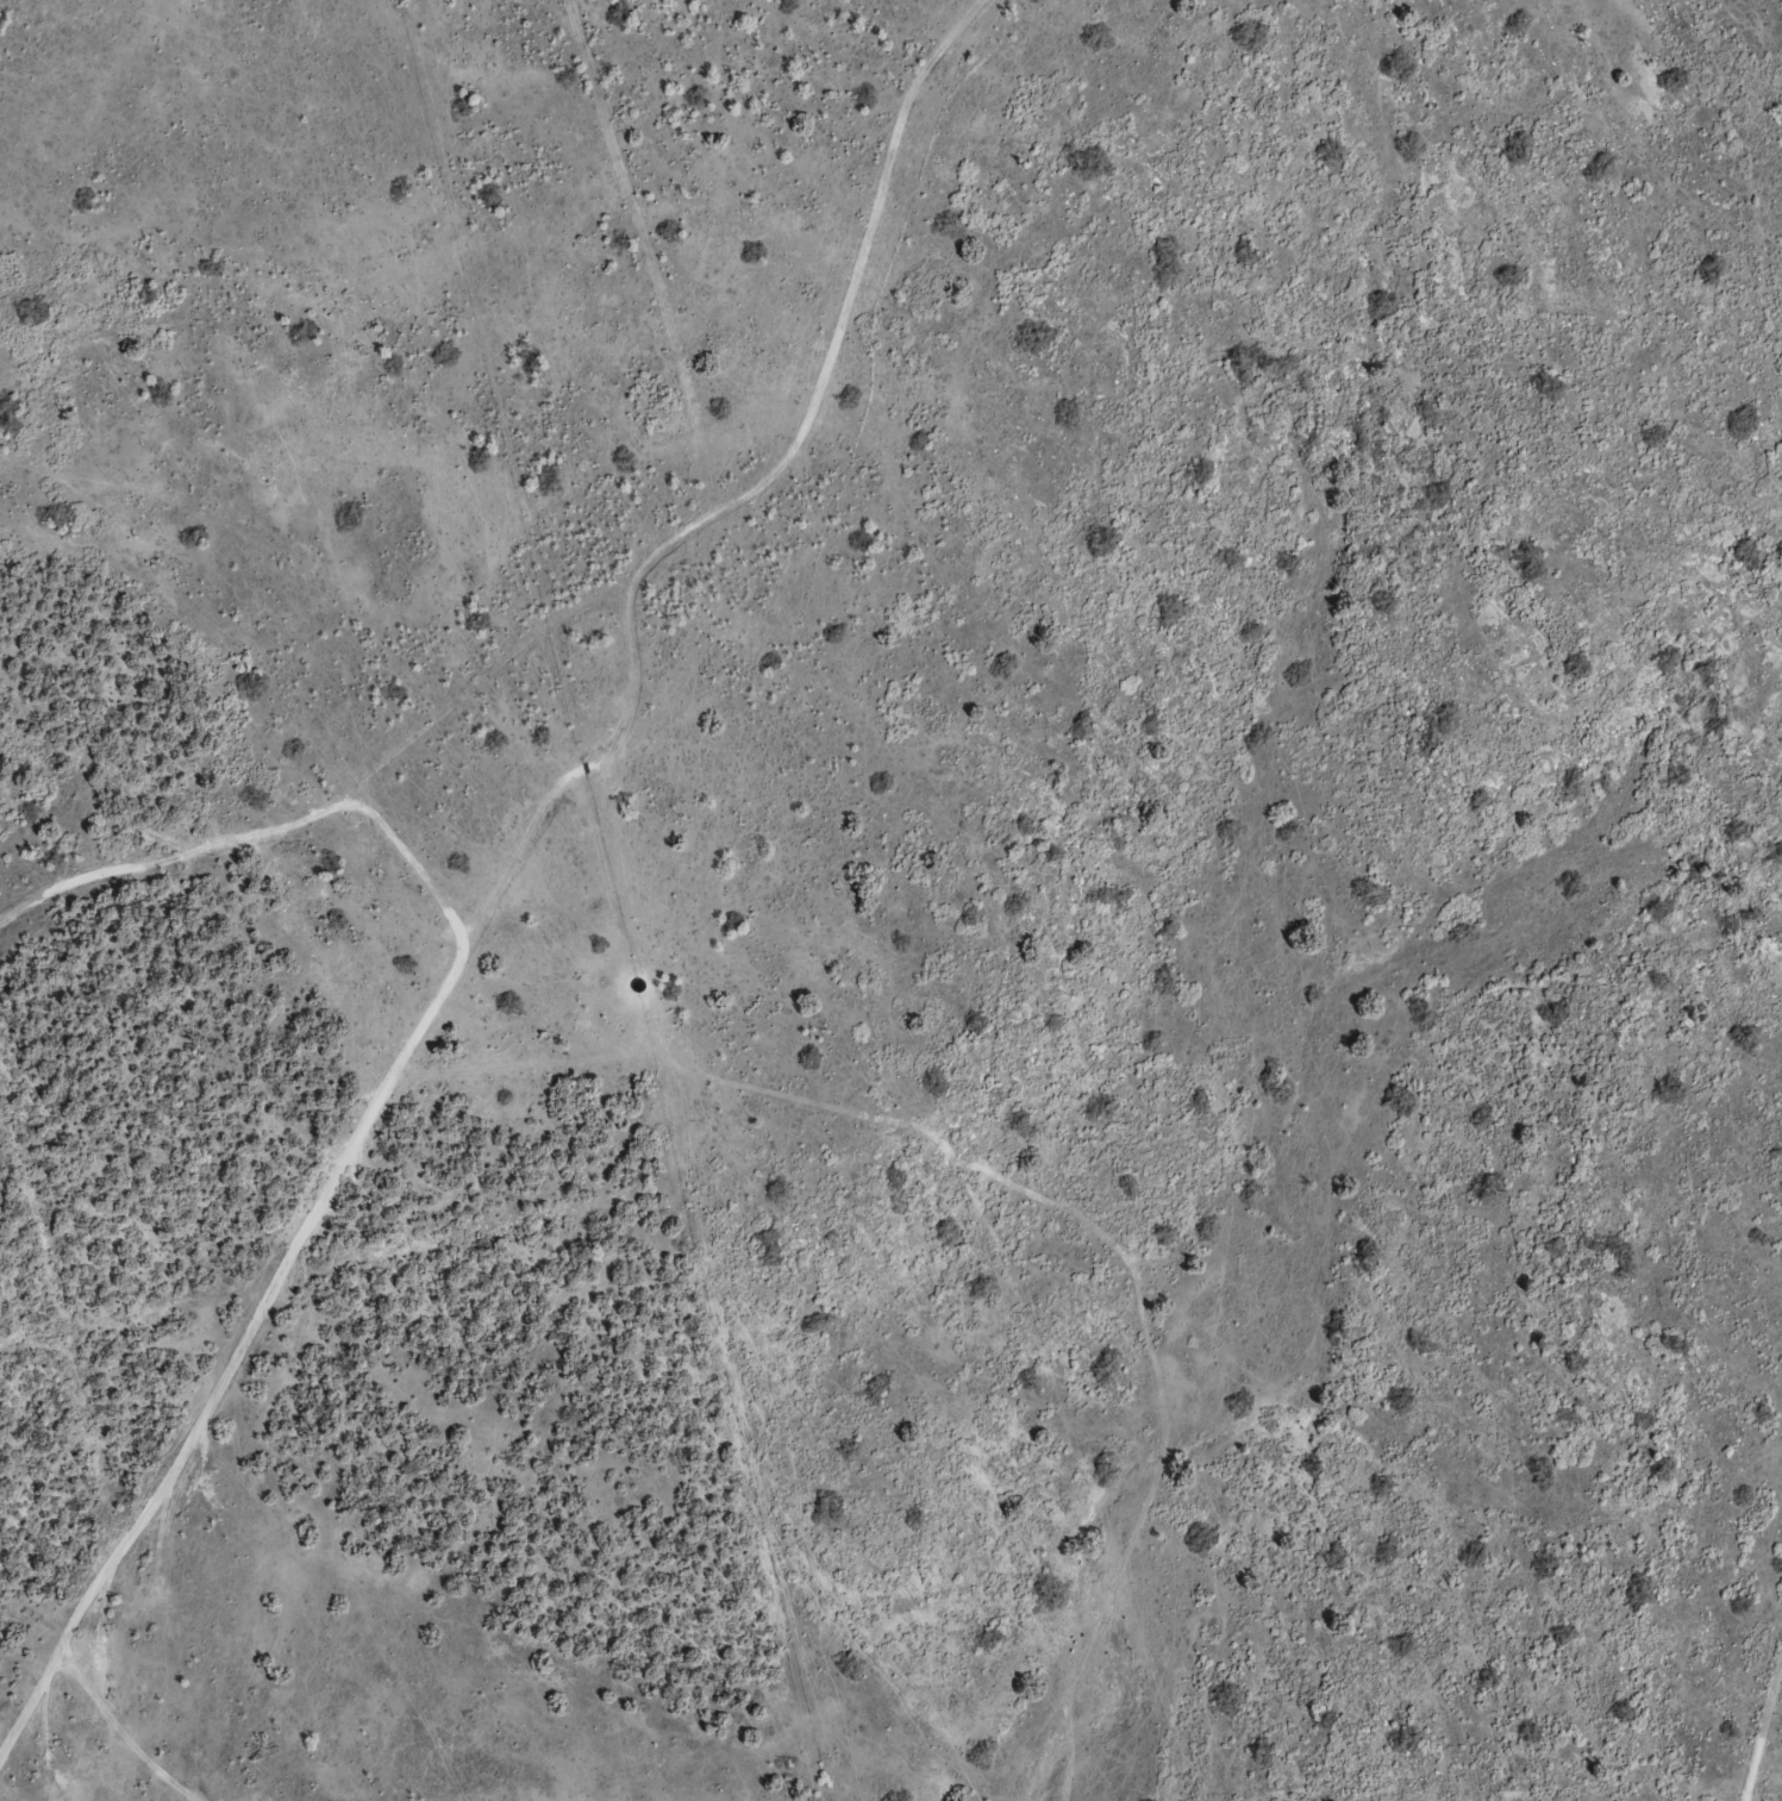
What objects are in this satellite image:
road: (862, 276)
road: (380, 792)
road: (371, 1131)

